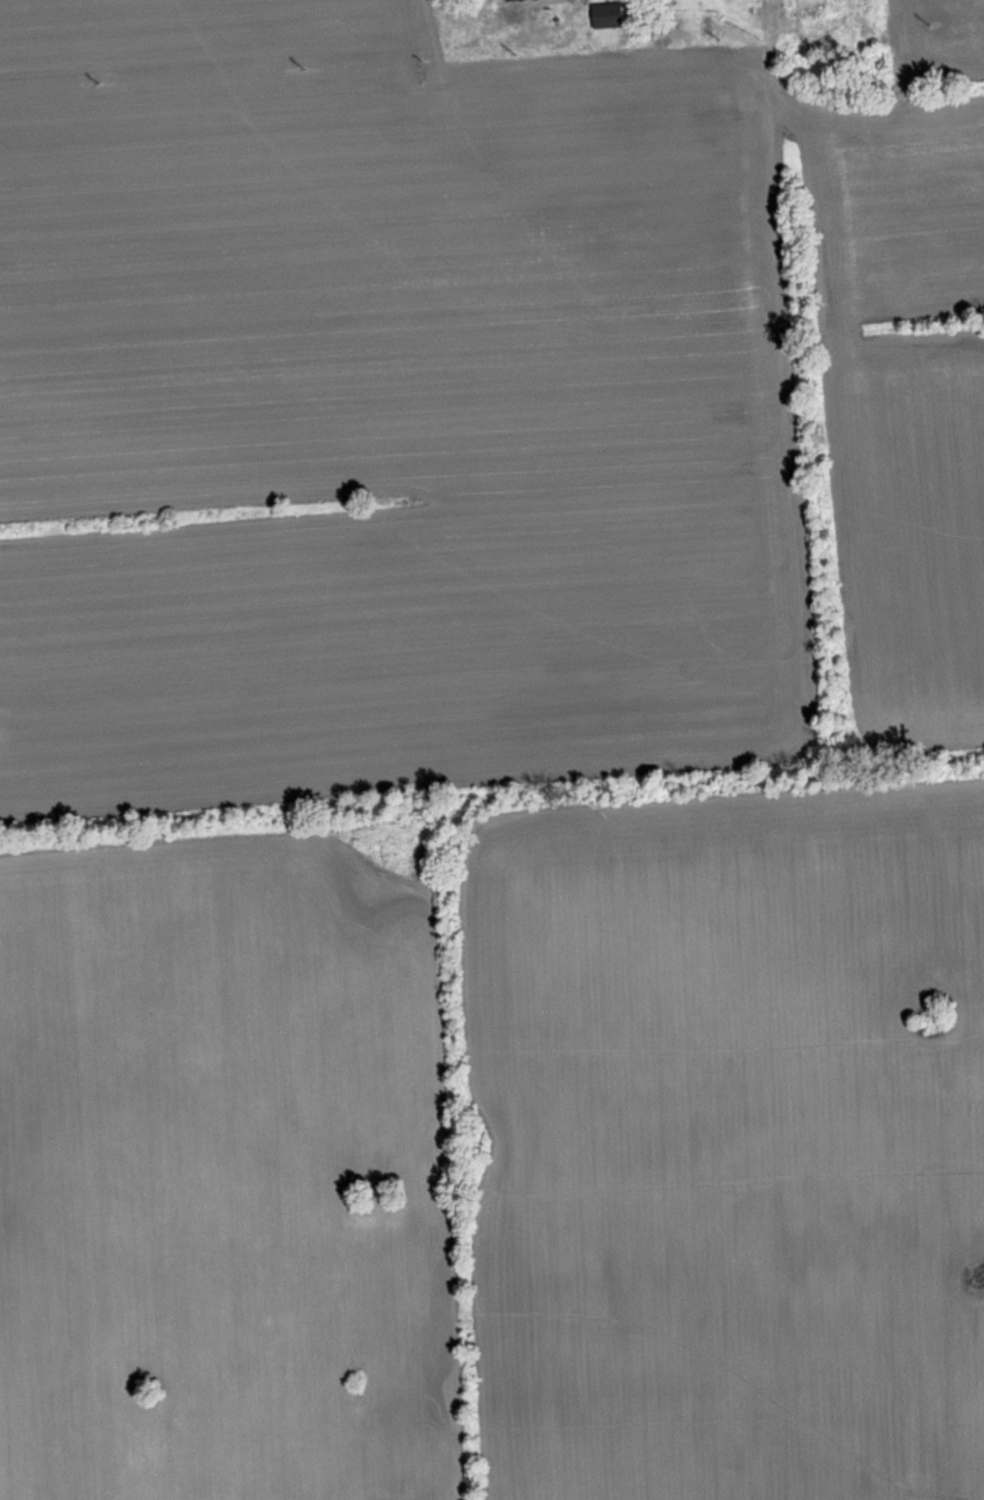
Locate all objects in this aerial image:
building: (504, 0)
building: (606, 15)

